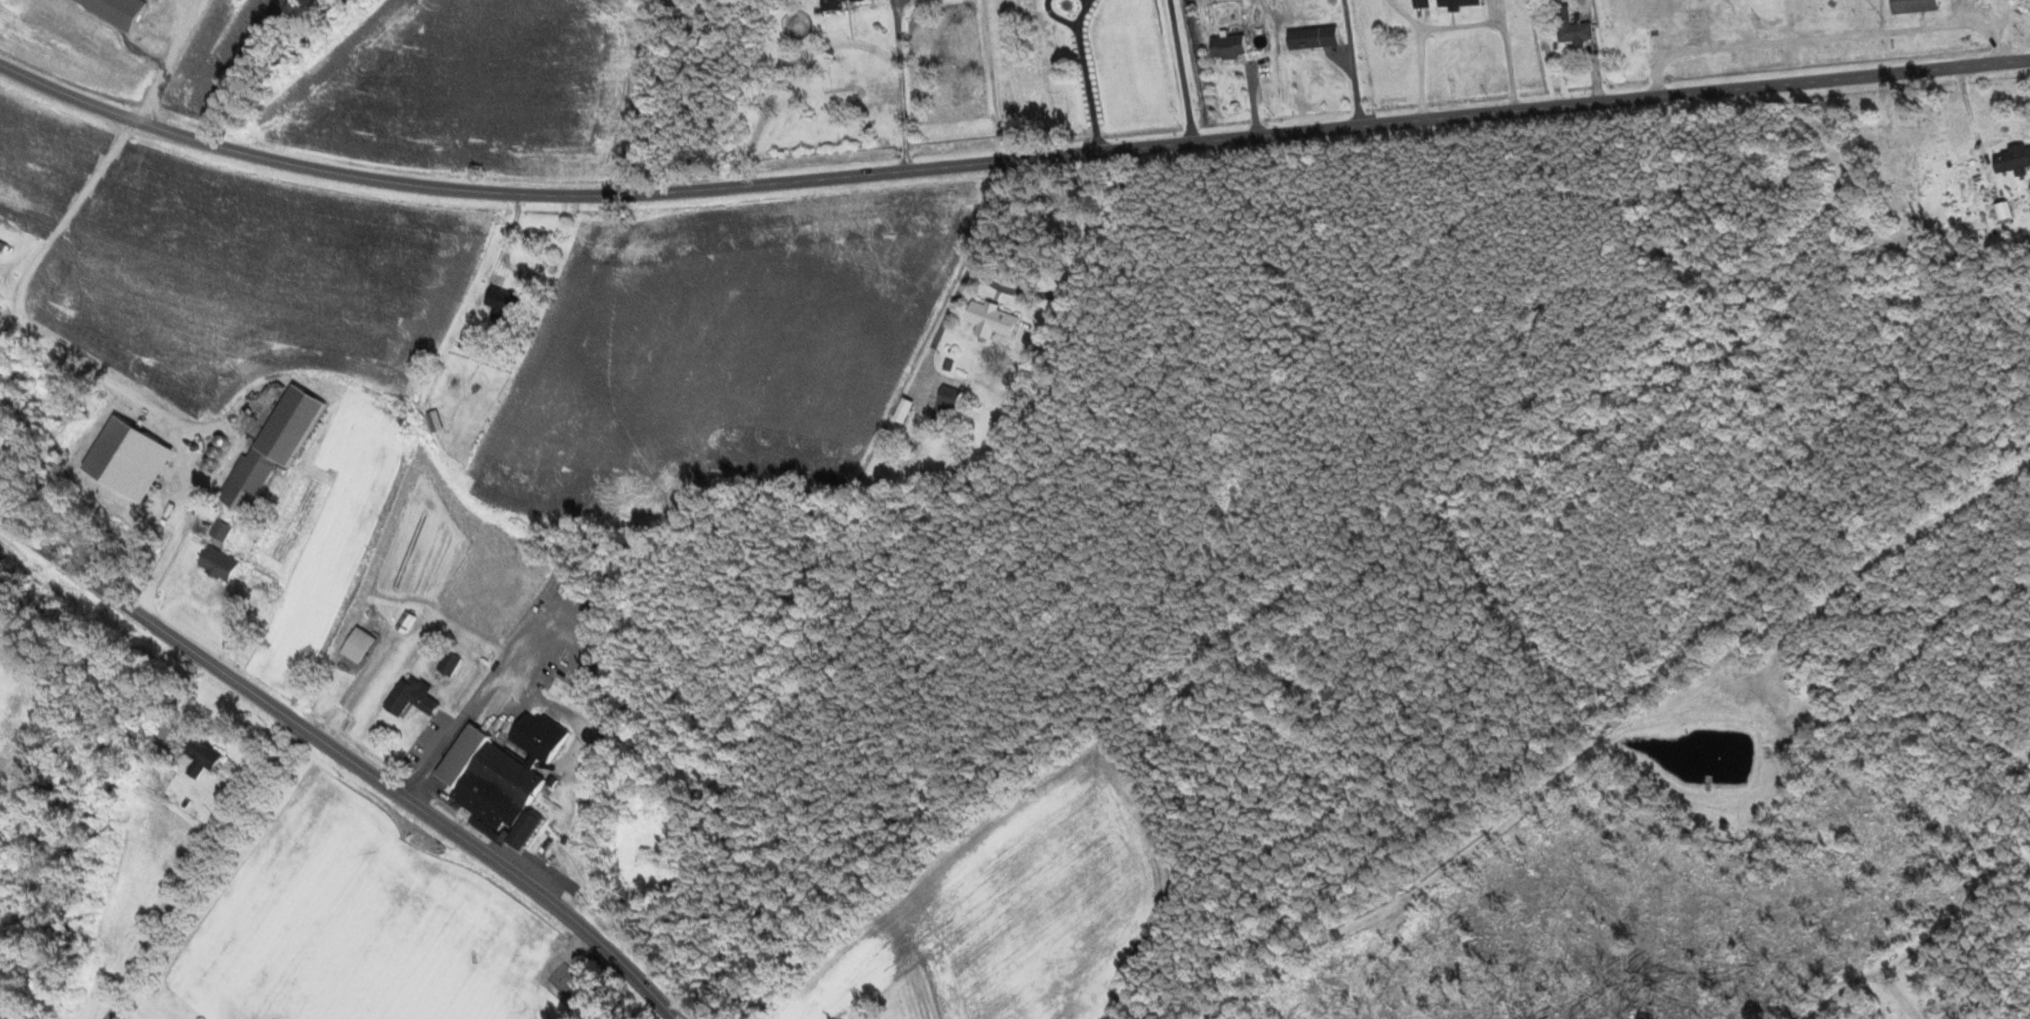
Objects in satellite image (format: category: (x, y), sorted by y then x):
building: (1422, 3)
building: (836, 4)
building: (1460, 4)
building: (1916, 6)
building: (120, 9)
building: (1573, 27)
building: (1314, 37)
building: (1230, 46)
road: (898, 83)
road: (1006, 157)
building: (2014, 159)
building: (2004, 210)
building: (504, 301)
building: (992, 317)
building: (949, 399)
building: (904, 408)
building: (274, 445)
building: (221, 528)
building: (219, 562)
building: (405, 620)
building: (359, 643)
building: (411, 695)
building: (202, 754)
road: (349, 754)
building: (509, 780)
road: (1840, 992)

